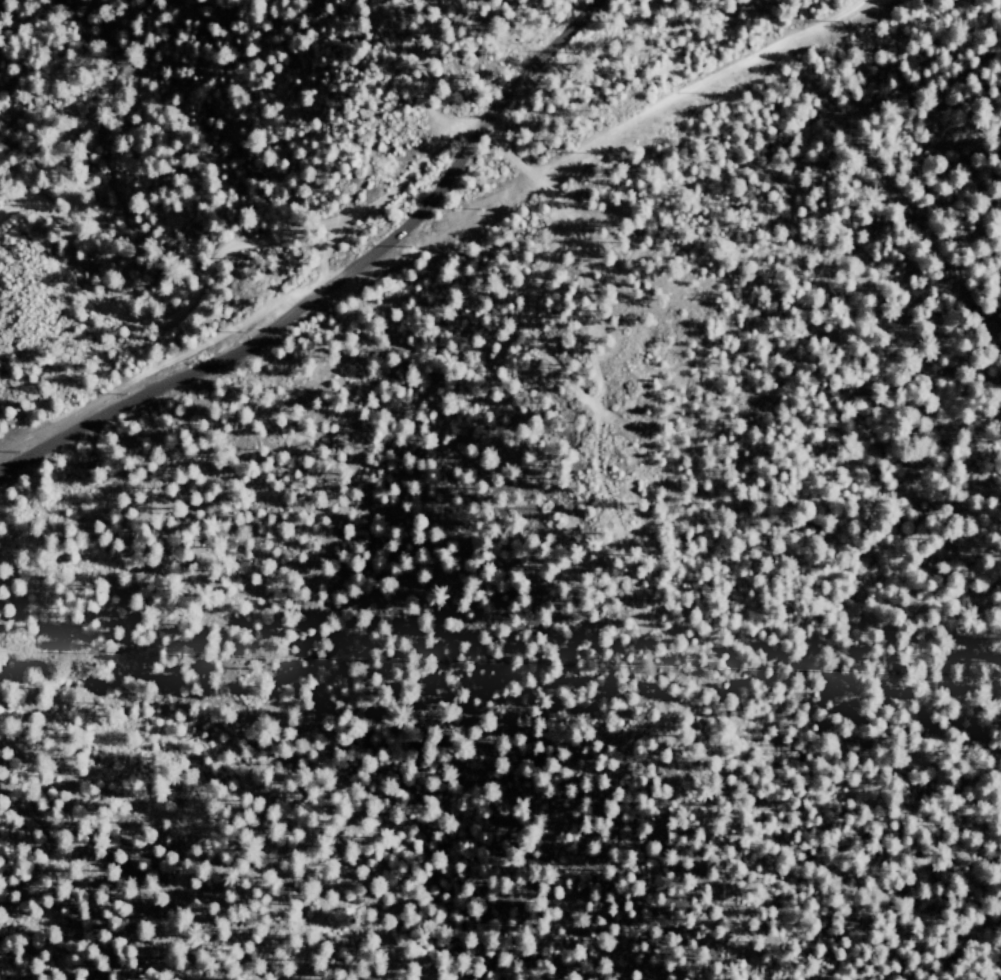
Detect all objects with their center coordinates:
road: (425, 80)
road: (610, 131)
road: (371, 147)
road: (207, 260)
road: (333, 279)
road: (162, 365)
road: (612, 530)

